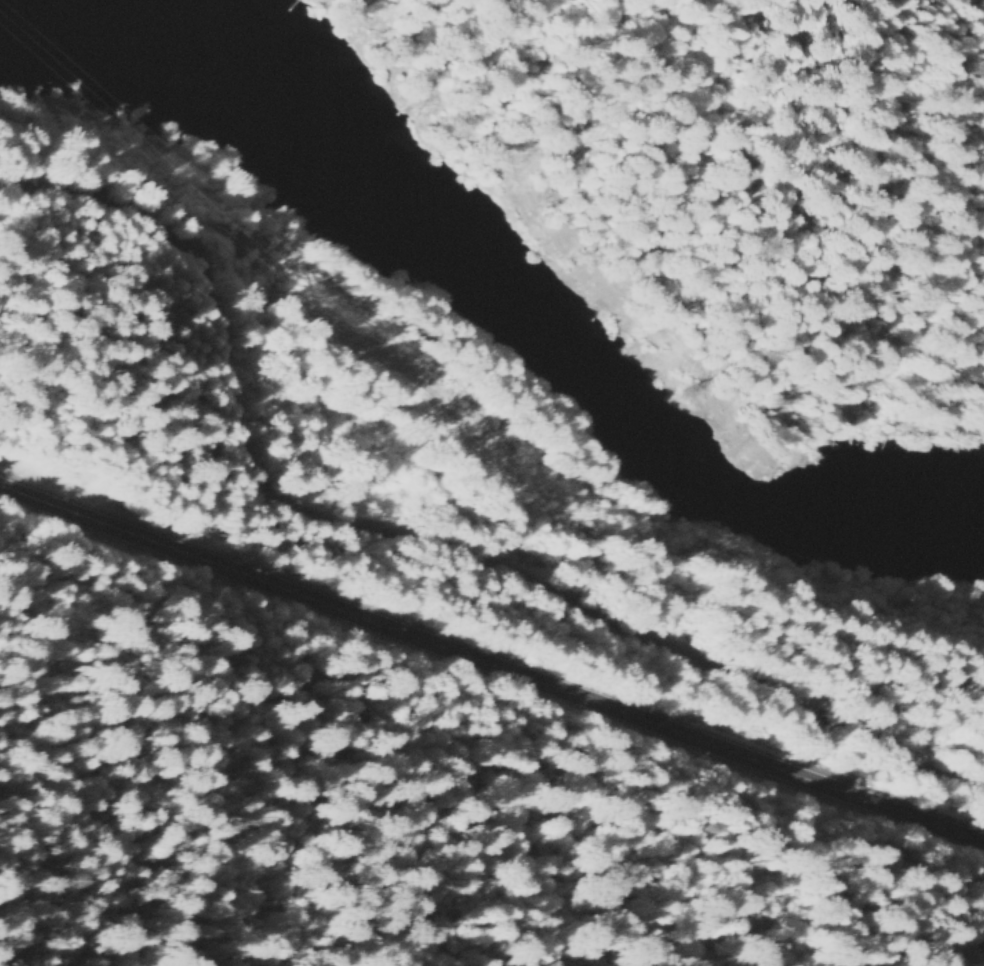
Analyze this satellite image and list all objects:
road: (715, 195)
river: (497, 315)
road: (407, 558)
road: (491, 665)

